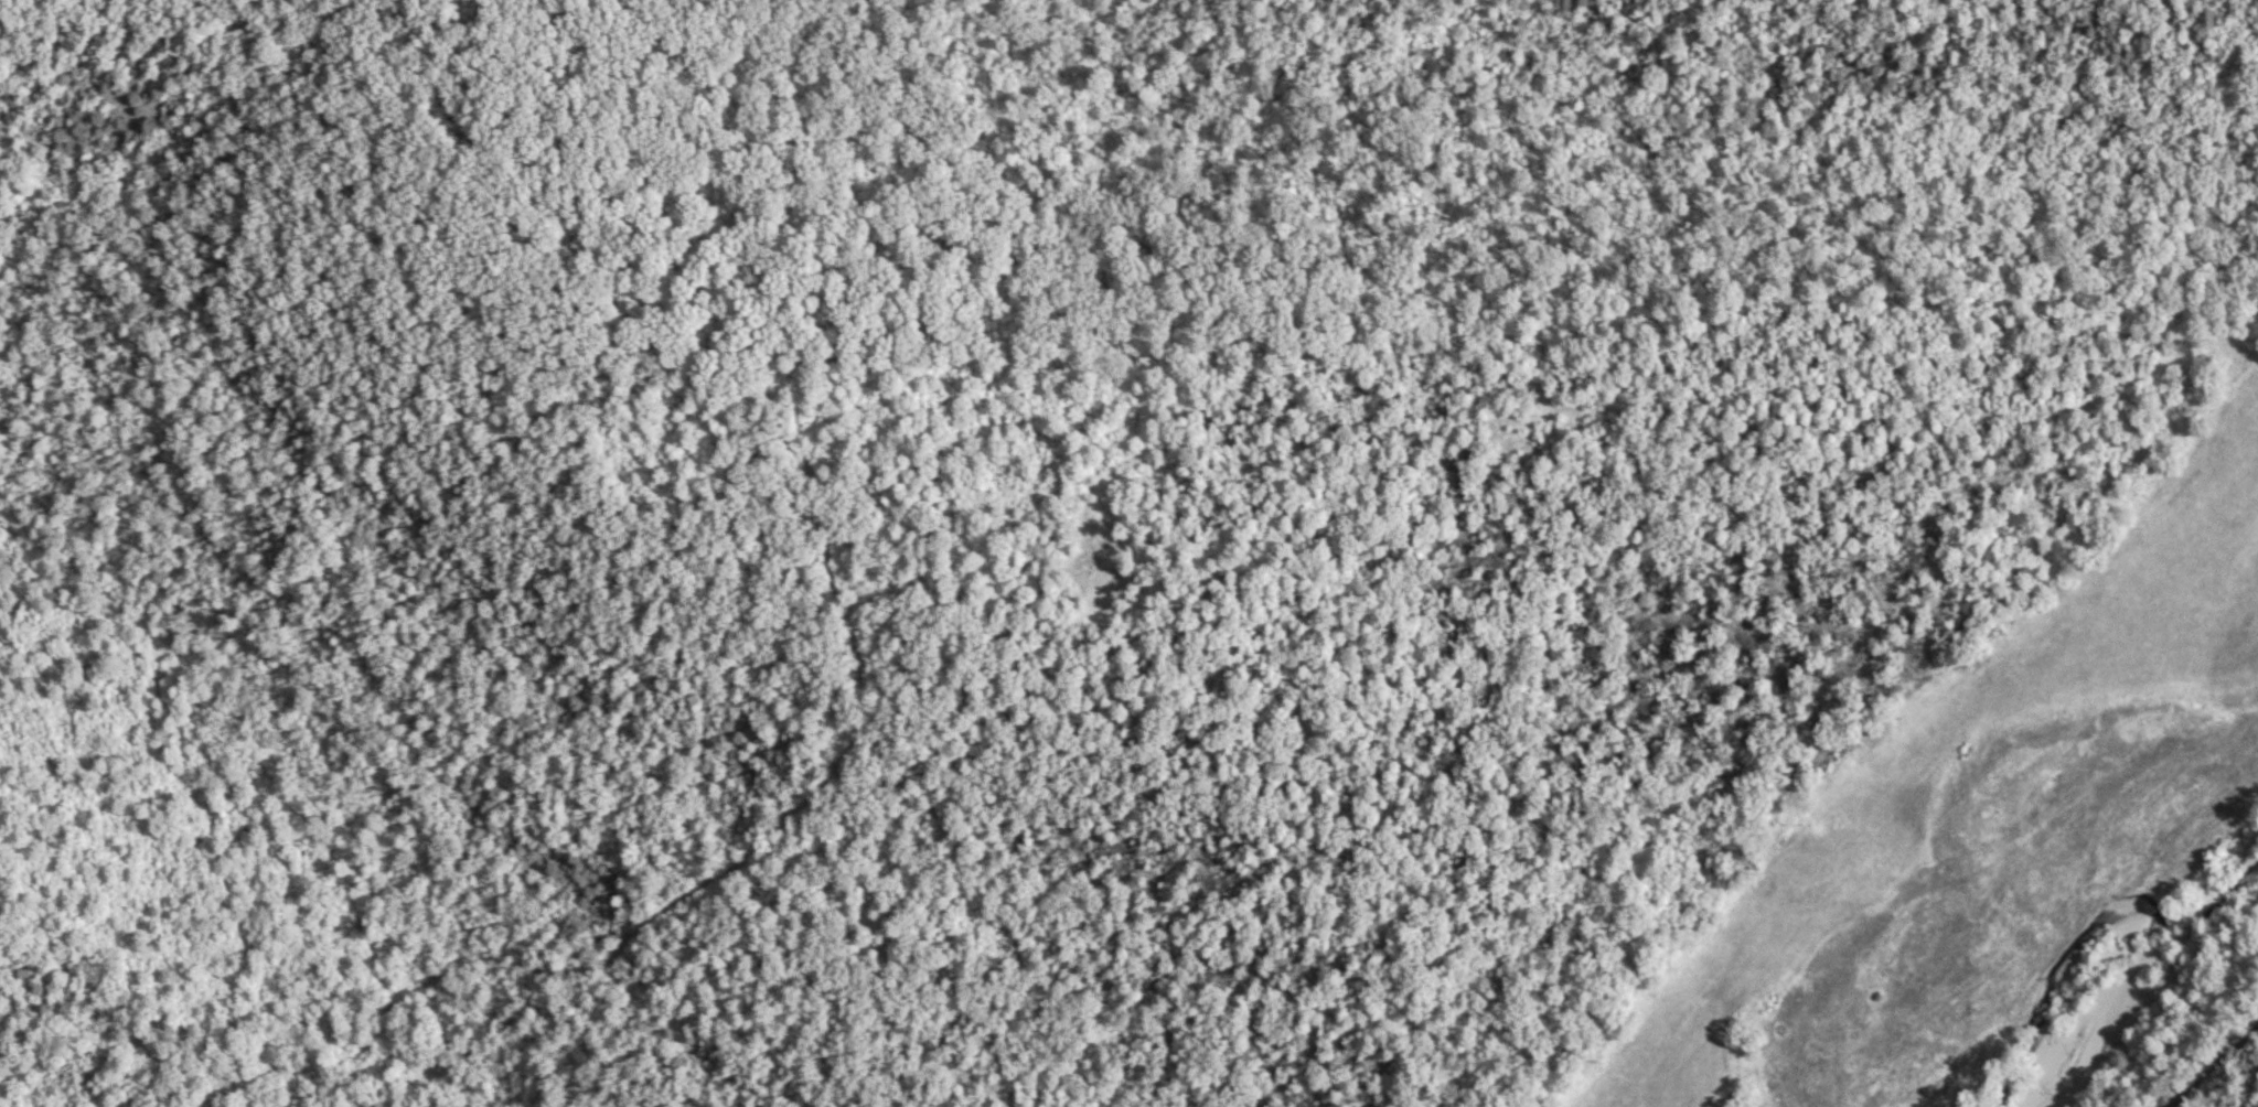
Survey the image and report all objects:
railway: (2213, 1061)

